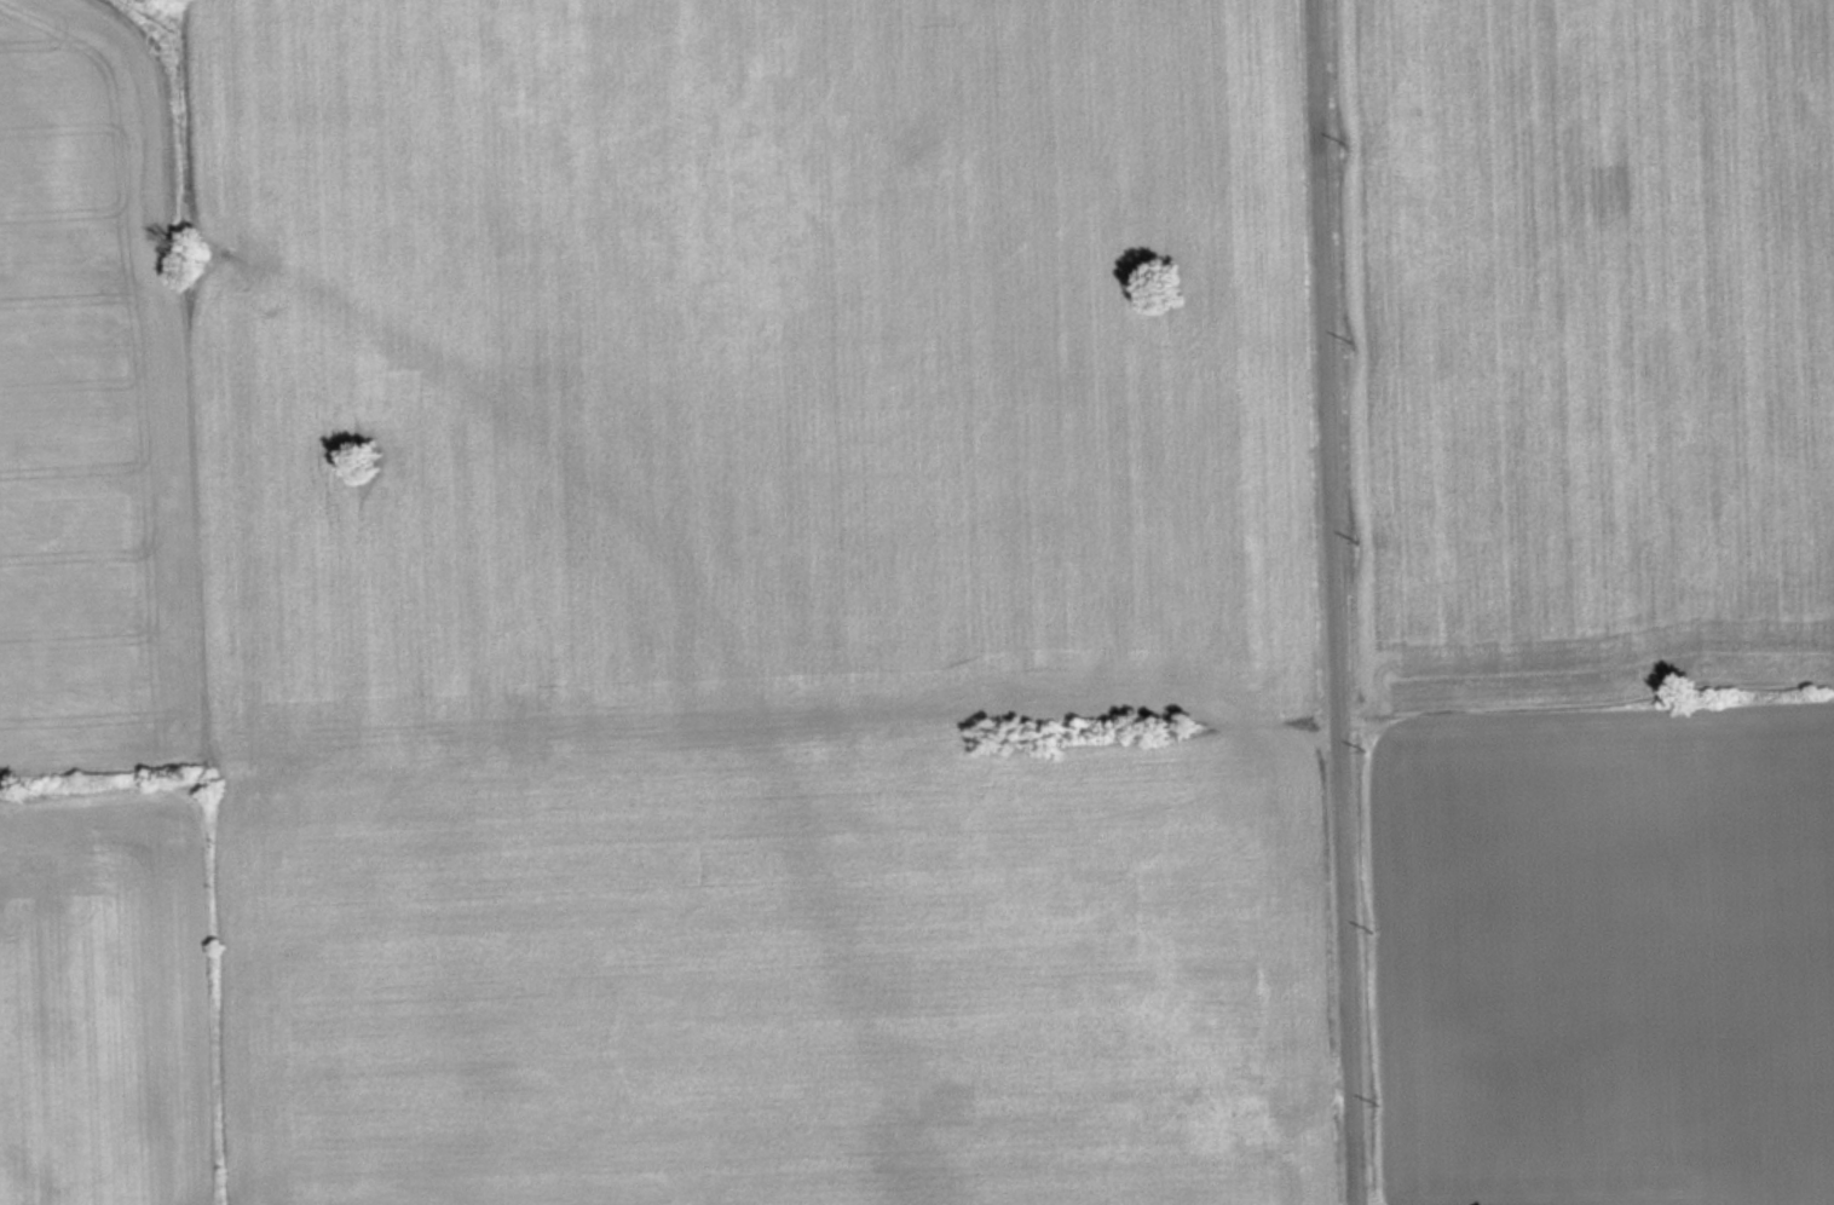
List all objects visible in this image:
road: (1333, 602)

